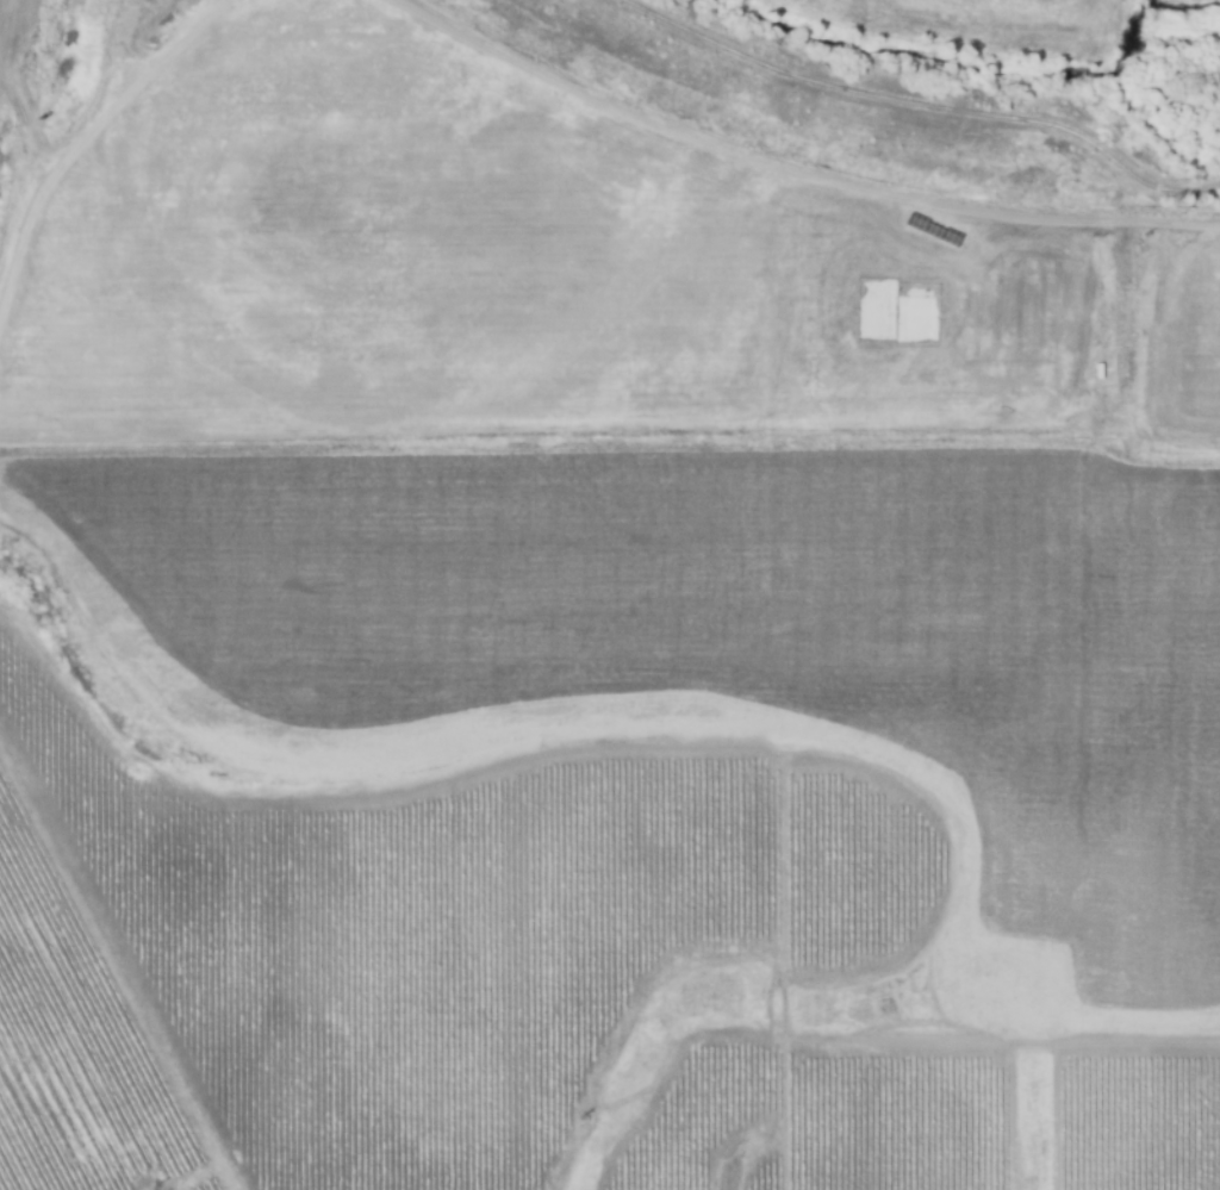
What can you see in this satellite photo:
road: (1183, 279)
road: (1183, 317)
crop: (1188, 334)
road: (1146, 335)

